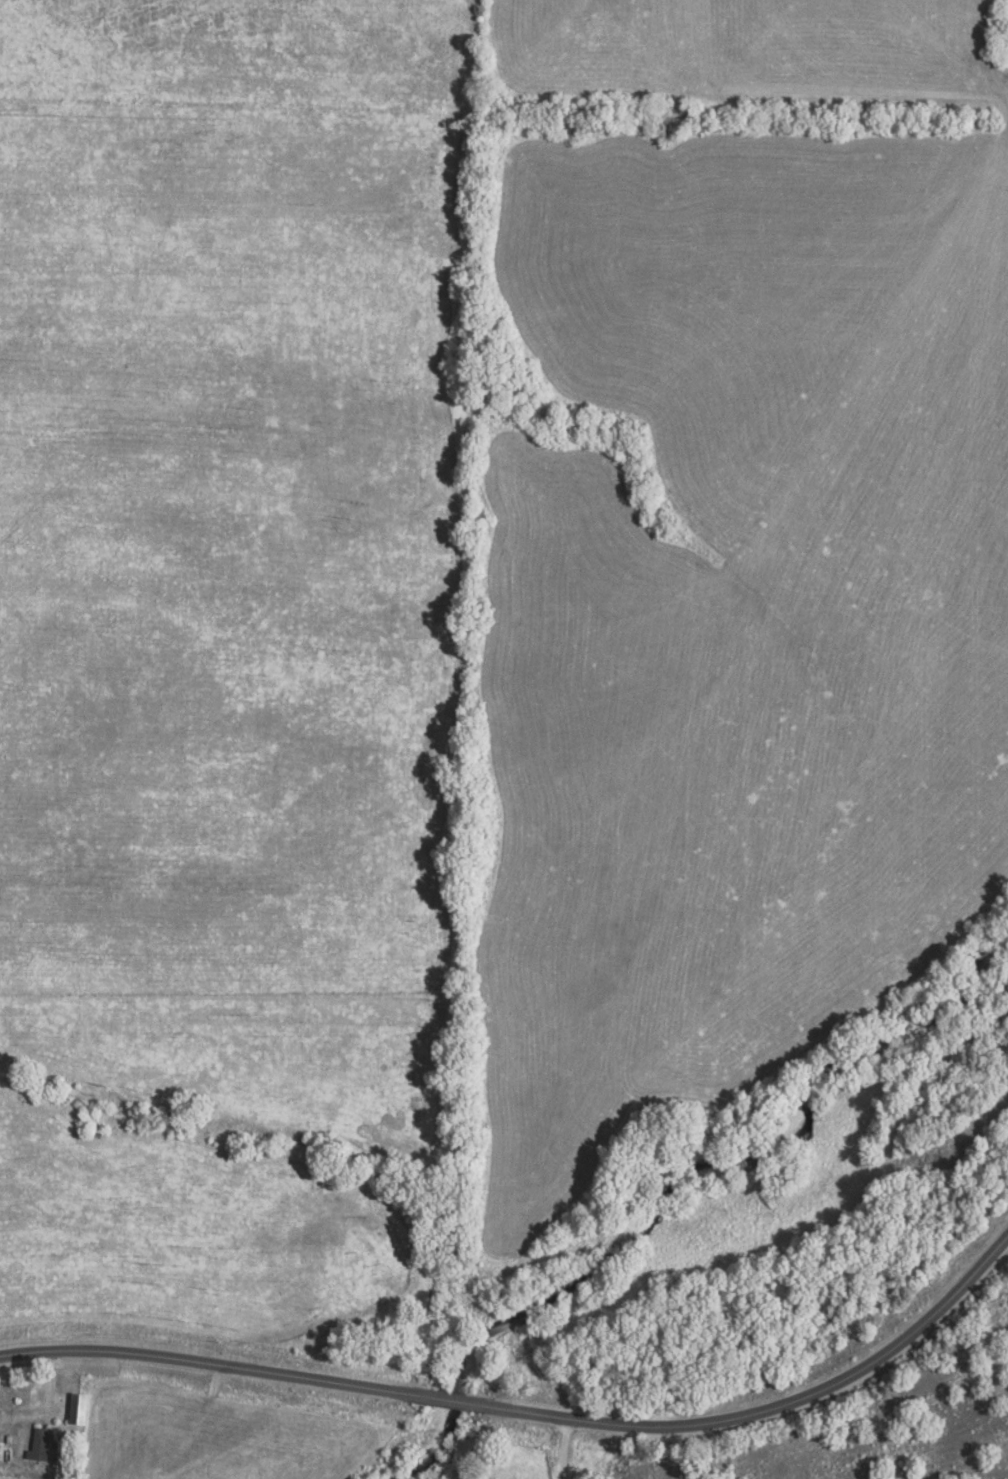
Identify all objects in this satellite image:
road: (799, 105)
building: (82, 1411)
road: (533, 1414)
building: (43, 1446)
road: (561, 1449)

